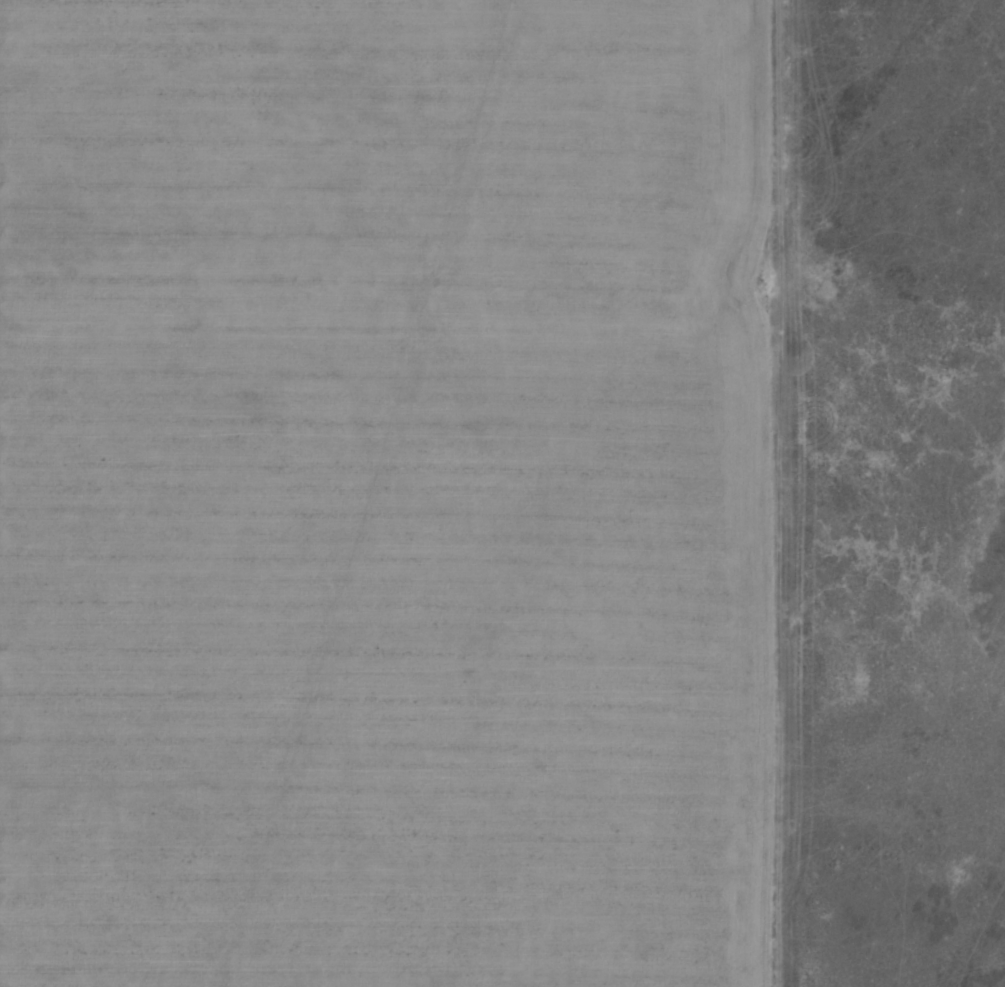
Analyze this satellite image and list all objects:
road: (855, 571)
road: (983, 942)

